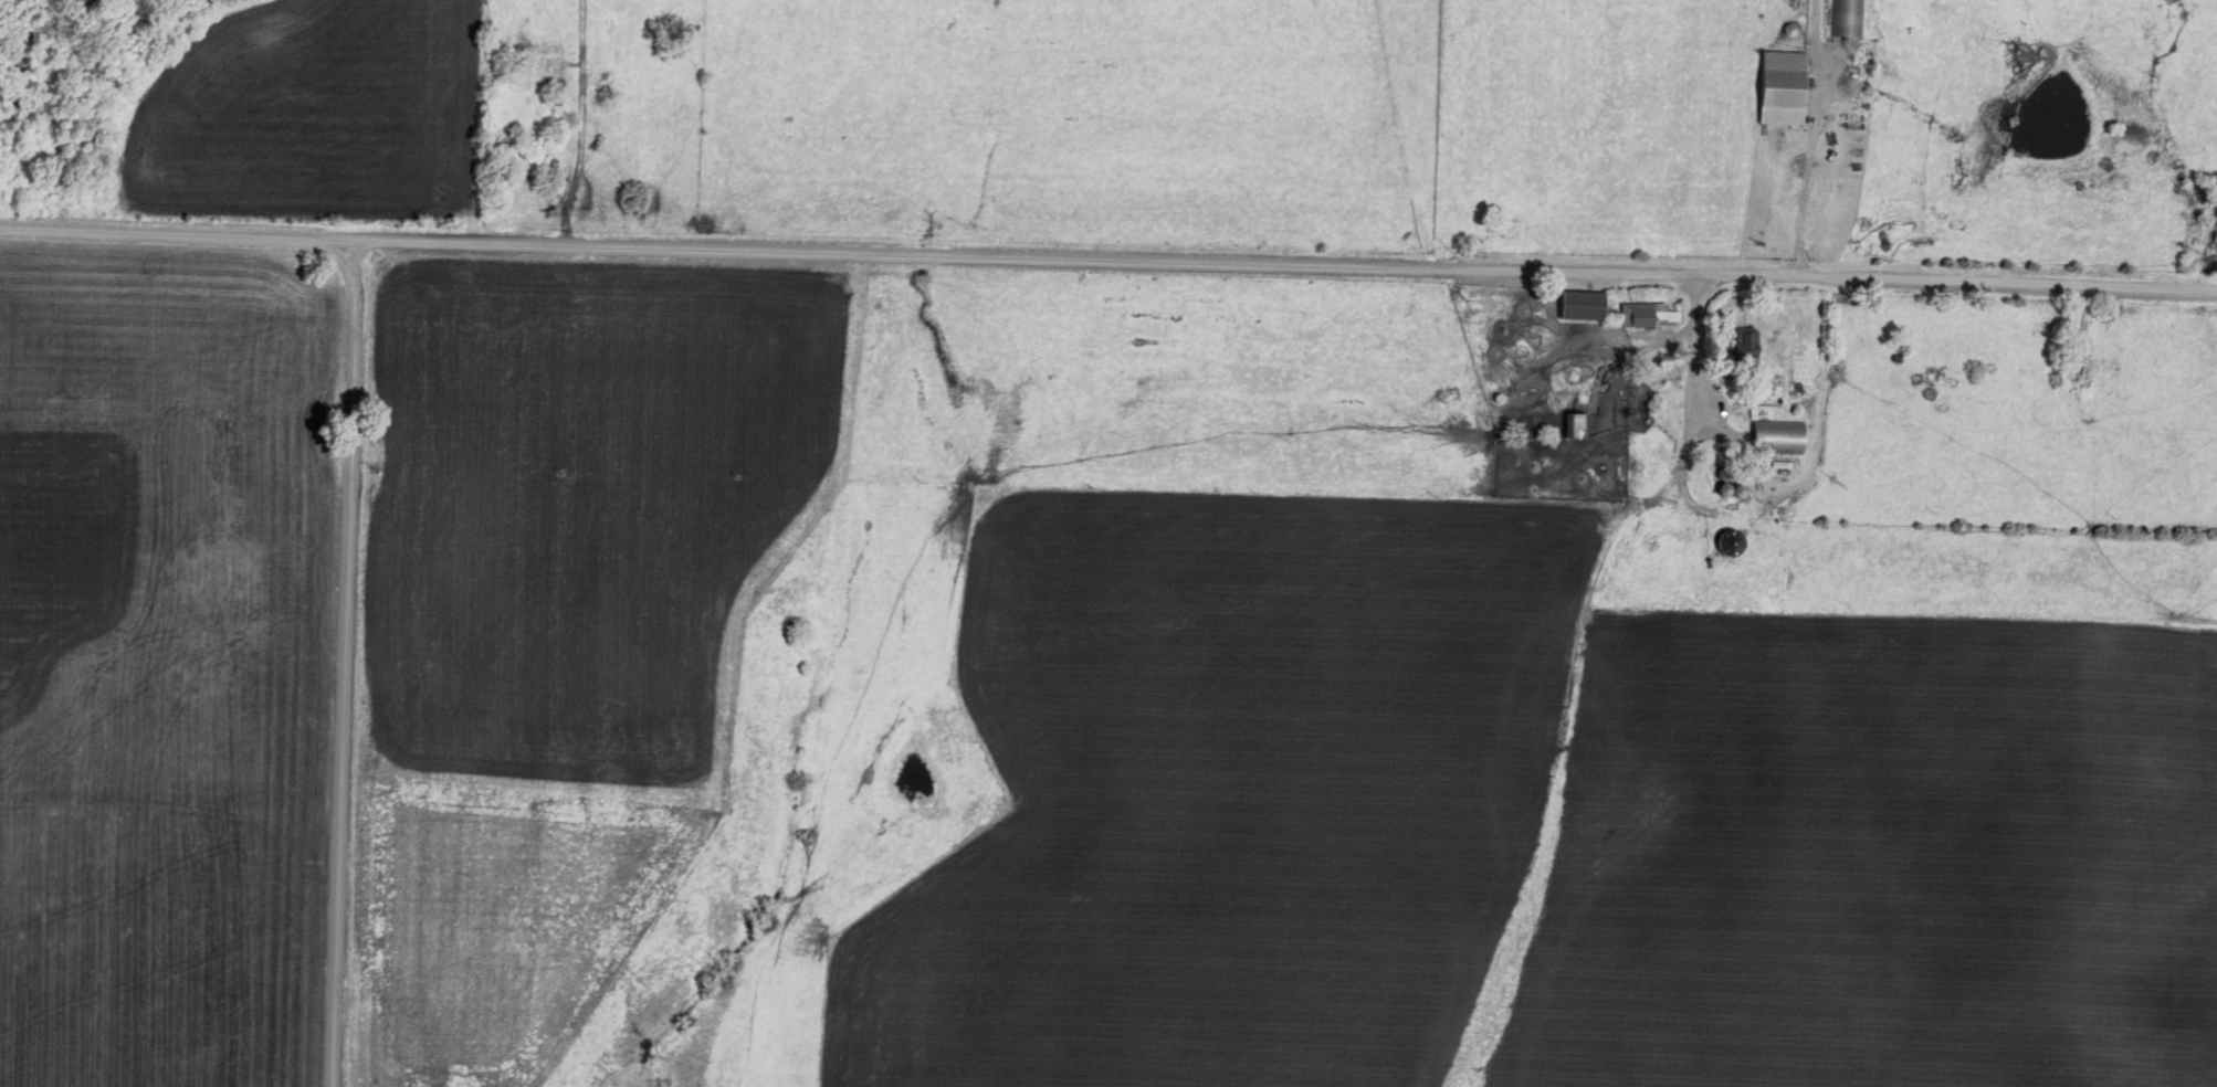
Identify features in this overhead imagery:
building: (1847, 19)
building: (1776, 89)
road: (1801, 178)
road: (1107, 262)
building: (1579, 306)
building: (1646, 316)
road: (1692, 349)
building: (1737, 352)
building: (1574, 426)
building: (1775, 437)
road: (326, 665)

